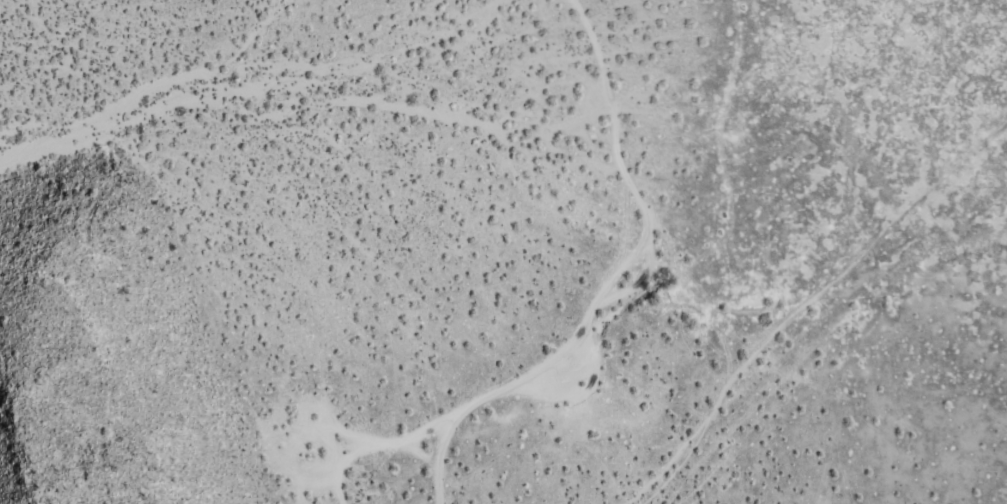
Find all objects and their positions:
airport runway: (917, 198)
road: (626, 288)
road: (723, 388)

